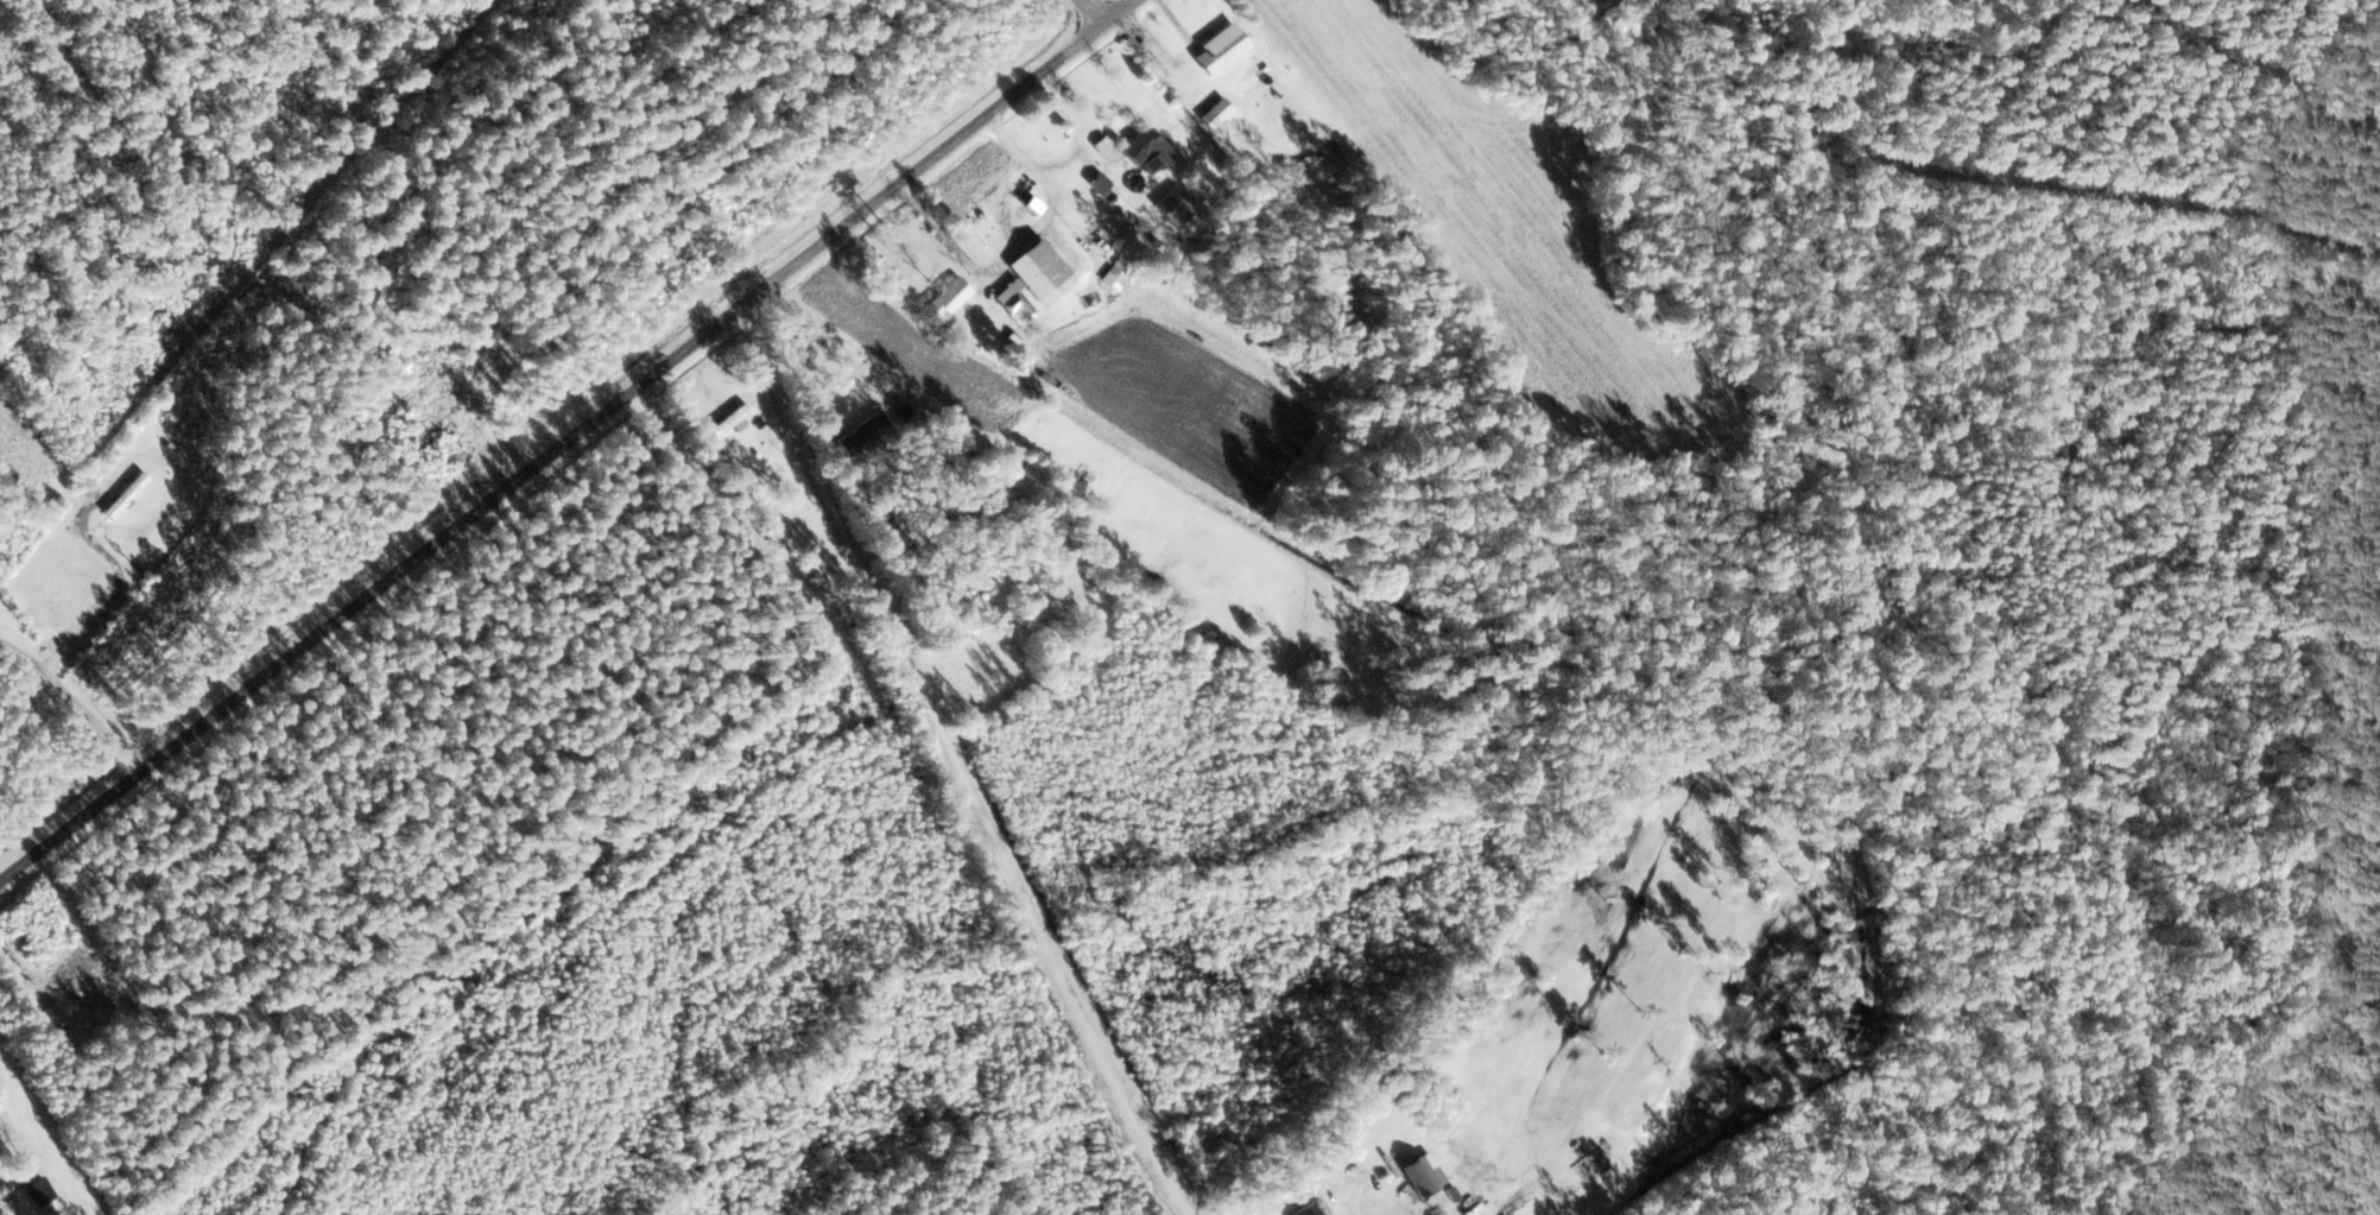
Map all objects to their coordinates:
road: (1093, 11)
road: (1118, 11)
building: (1221, 50)
building: (1217, 113)
building: (1148, 148)
road: (2159, 189)
building: (1172, 209)
building: (1045, 262)
building: (1118, 276)
building: (945, 302)
building: (1015, 303)
building: (734, 418)
building: (865, 434)
road: (576, 479)
building: (891, 524)
road: (876, 582)
road: (1101, 1010)
building: (1424, 1173)
building: (8, 1188)
building: (38, 1190)
building: (1306, 1209)

